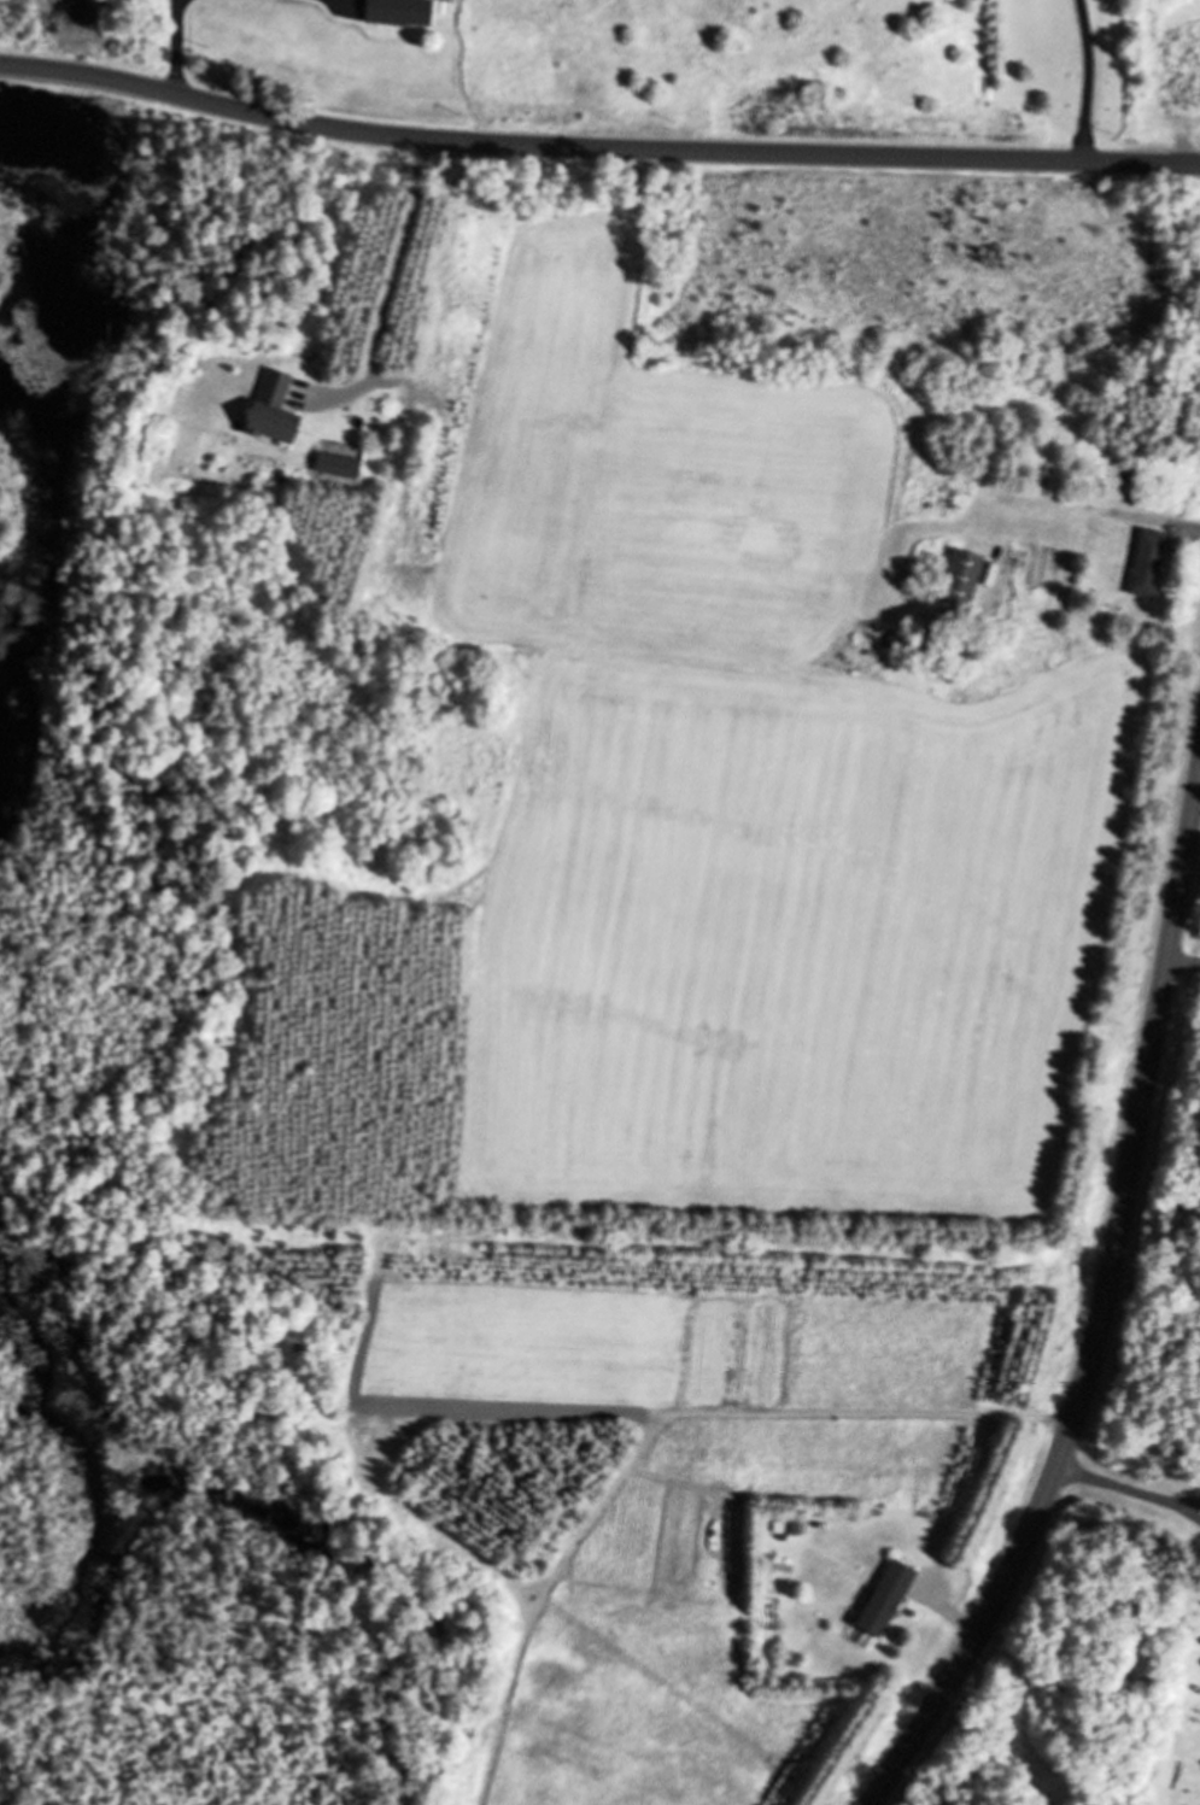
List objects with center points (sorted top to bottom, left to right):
building: (397, 12)
quarry: (11, 27)
road: (596, 147)
building: (269, 409)
building: (942, 496)
building: (1145, 562)
building: (959, 576)
road: (1105, 1309)
building: (784, 1528)
building: (884, 1598)

